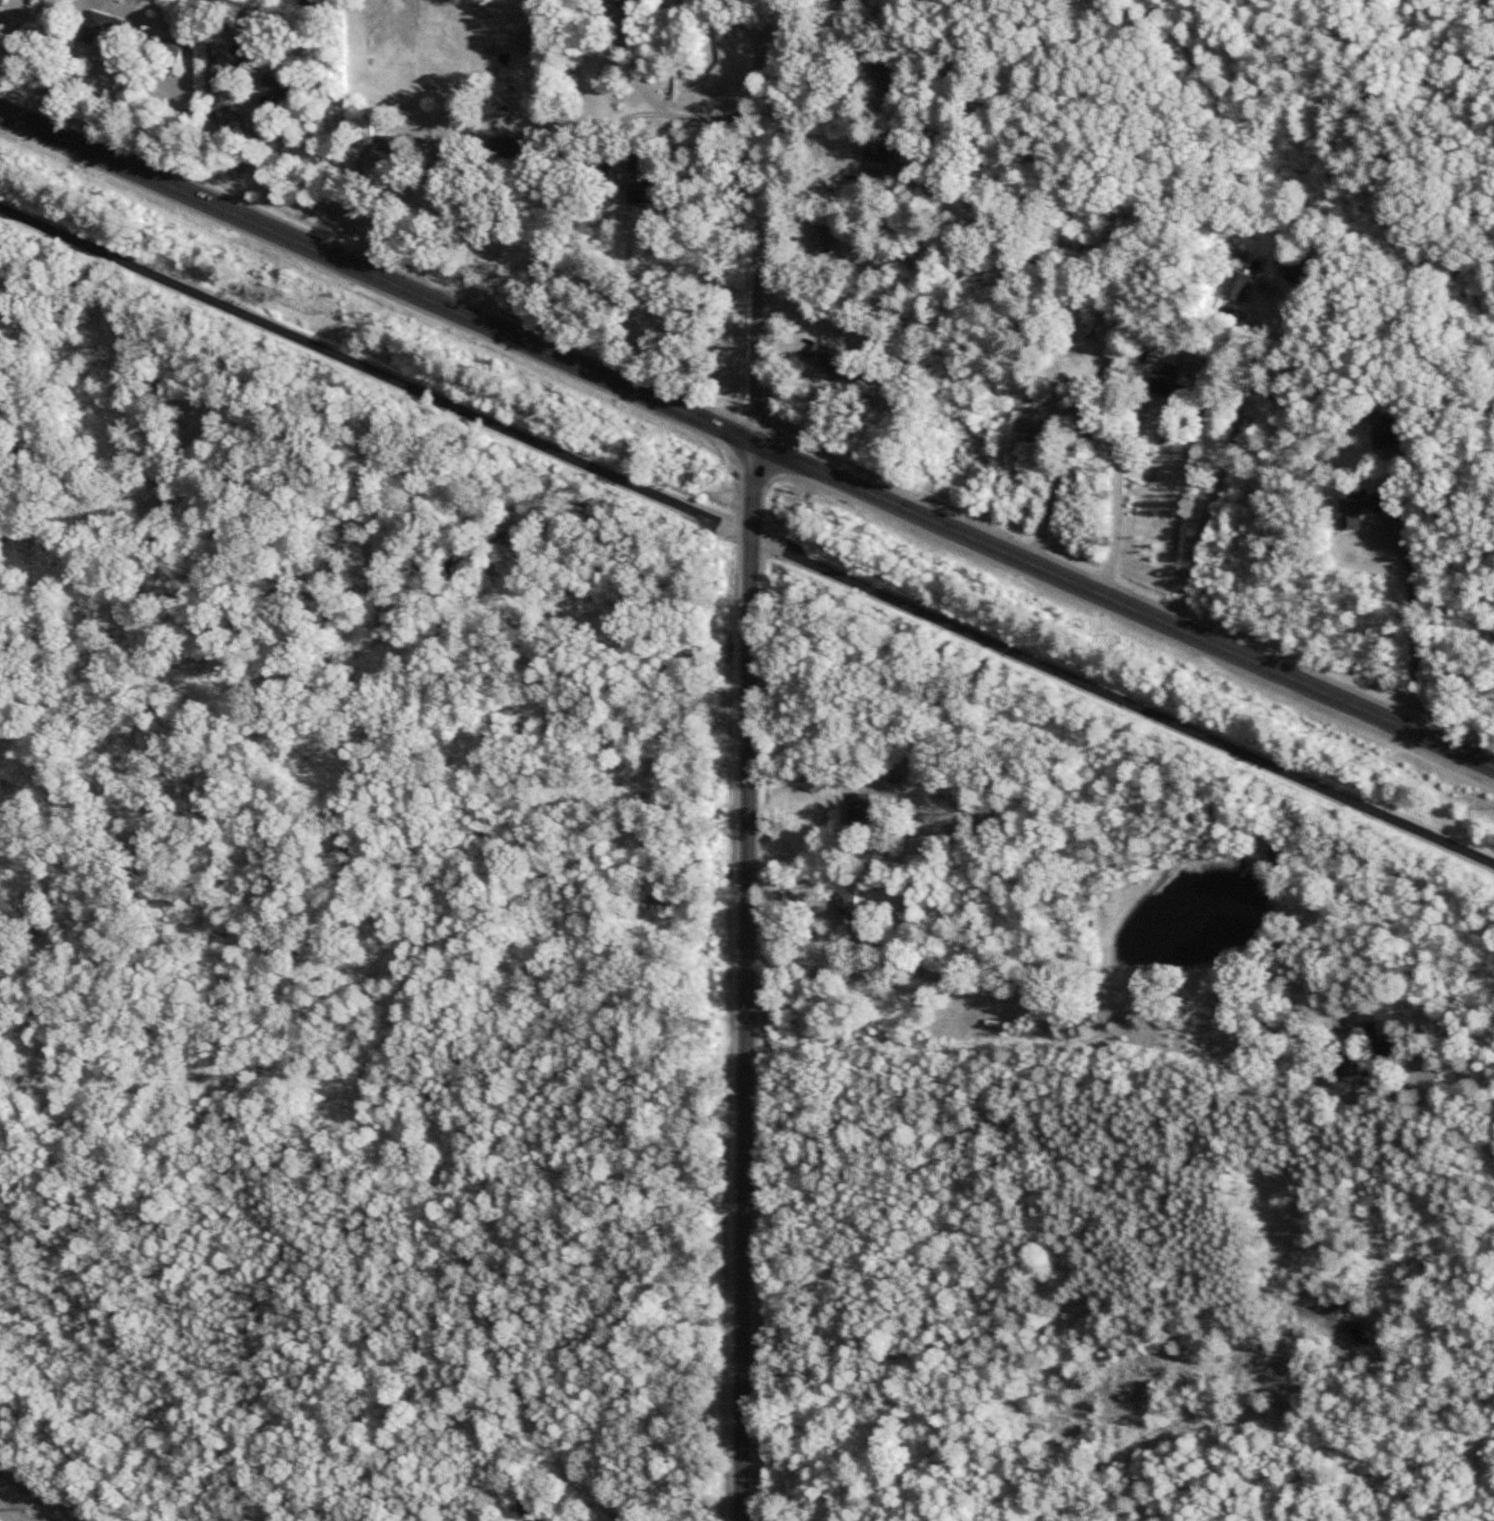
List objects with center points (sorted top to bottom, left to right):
building: (2, 2)
building: (94, 27)
road: (1047, 33)
building: (167, 53)
building: (248, 76)
building: (882, 77)
building: (278, 86)
building: (670, 86)
road: (104, 94)
building: (515, 149)
building: (381, 150)
building: (872, 153)
road: (251, 156)
road: (757, 219)
building: (824, 238)
road: (493, 269)
building: (1302, 271)
road: (631, 282)
building: (1237, 285)
building: (1076, 324)
building: (833, 362)
building: (1171, 383)
building: (1386, 428)
road: (746, 438)
road: (1225, 459)
road: (1118, 504)
building: (1359, 509)
road: (747, 534)
road: (1414, 623)
building: (863, 808)
road: (746, 980)
building: (1378, 1031)
building: (1344, 1067)
power tower: (19, 1503)
road: (1122, 1509)

